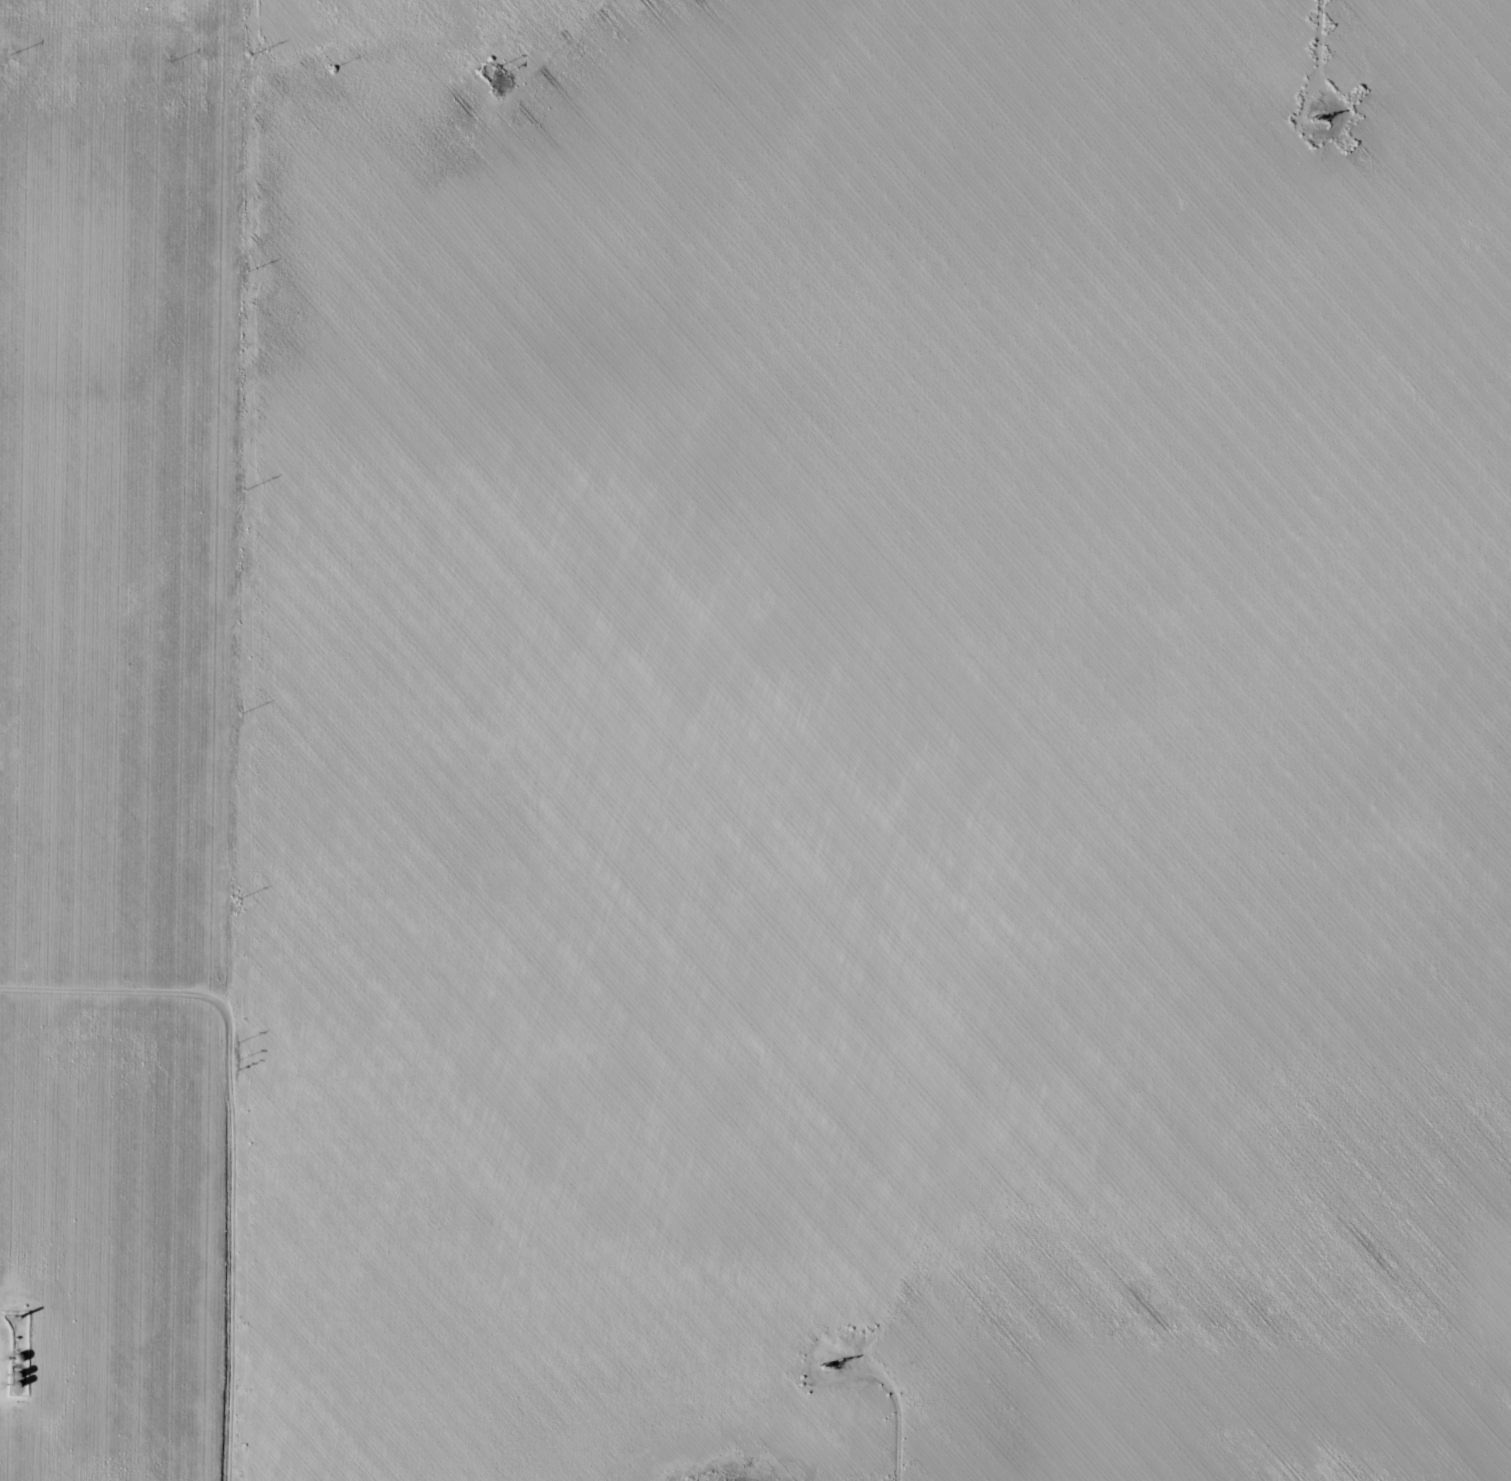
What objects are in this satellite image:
road: (213, 740)
road: (105, 1053)

